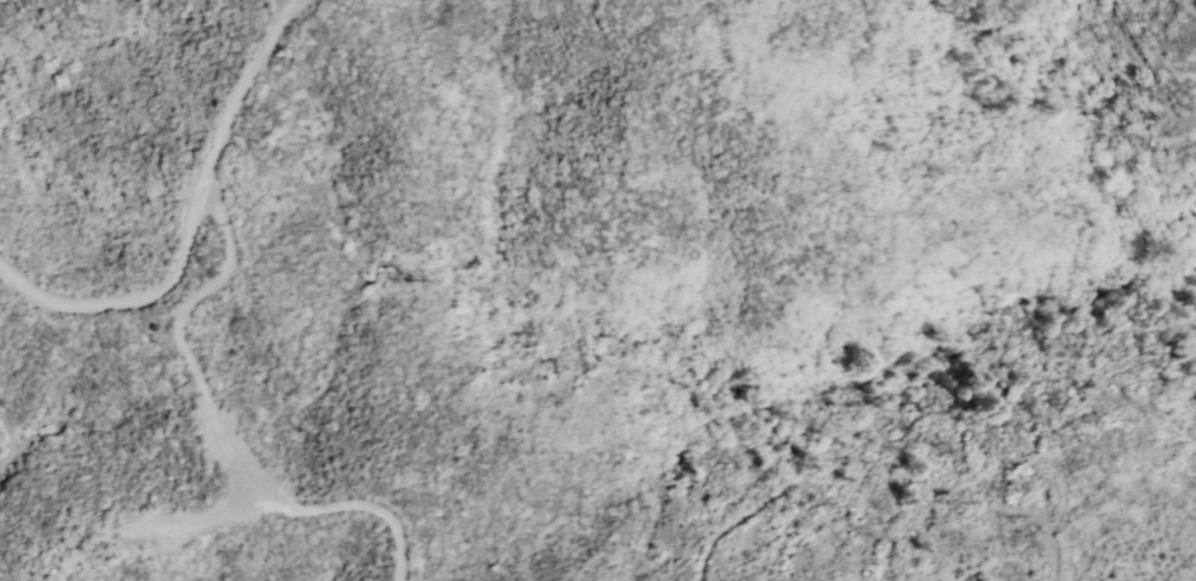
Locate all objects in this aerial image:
road: (279, 5)
road: (25, 16)
road: (192, 223)
road: (222, 434)

